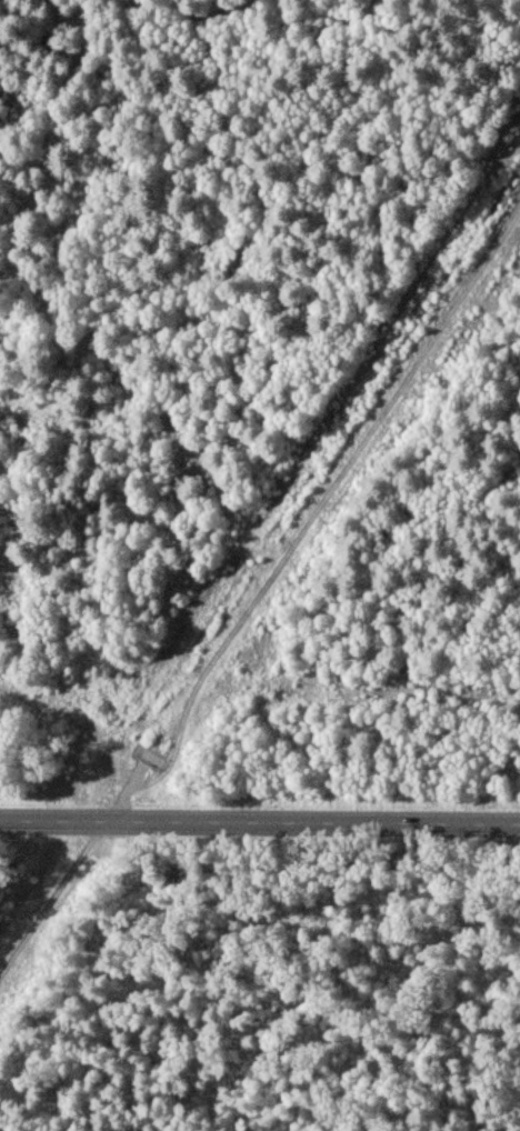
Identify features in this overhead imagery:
road: (260, 824)

